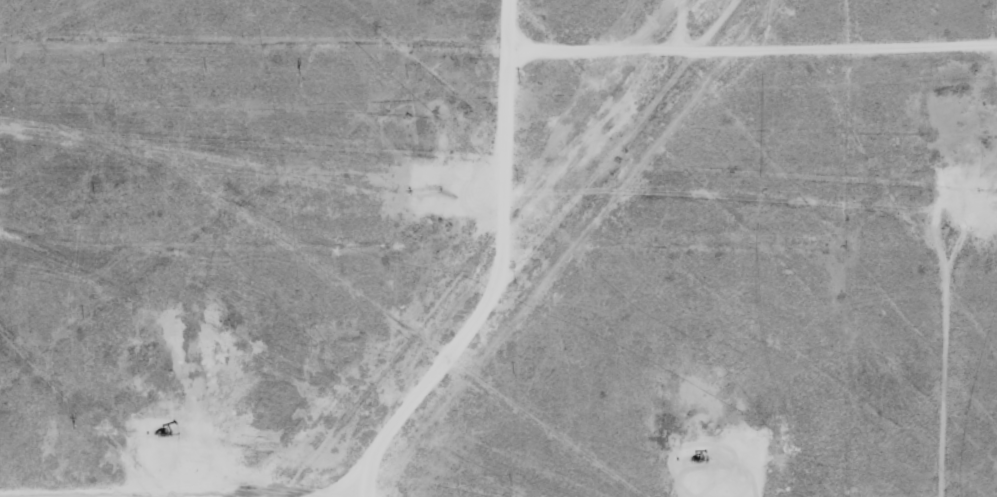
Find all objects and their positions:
road: (498, 52)
road: (861, 197)
road: (402, 410)
road: (352, 483)

